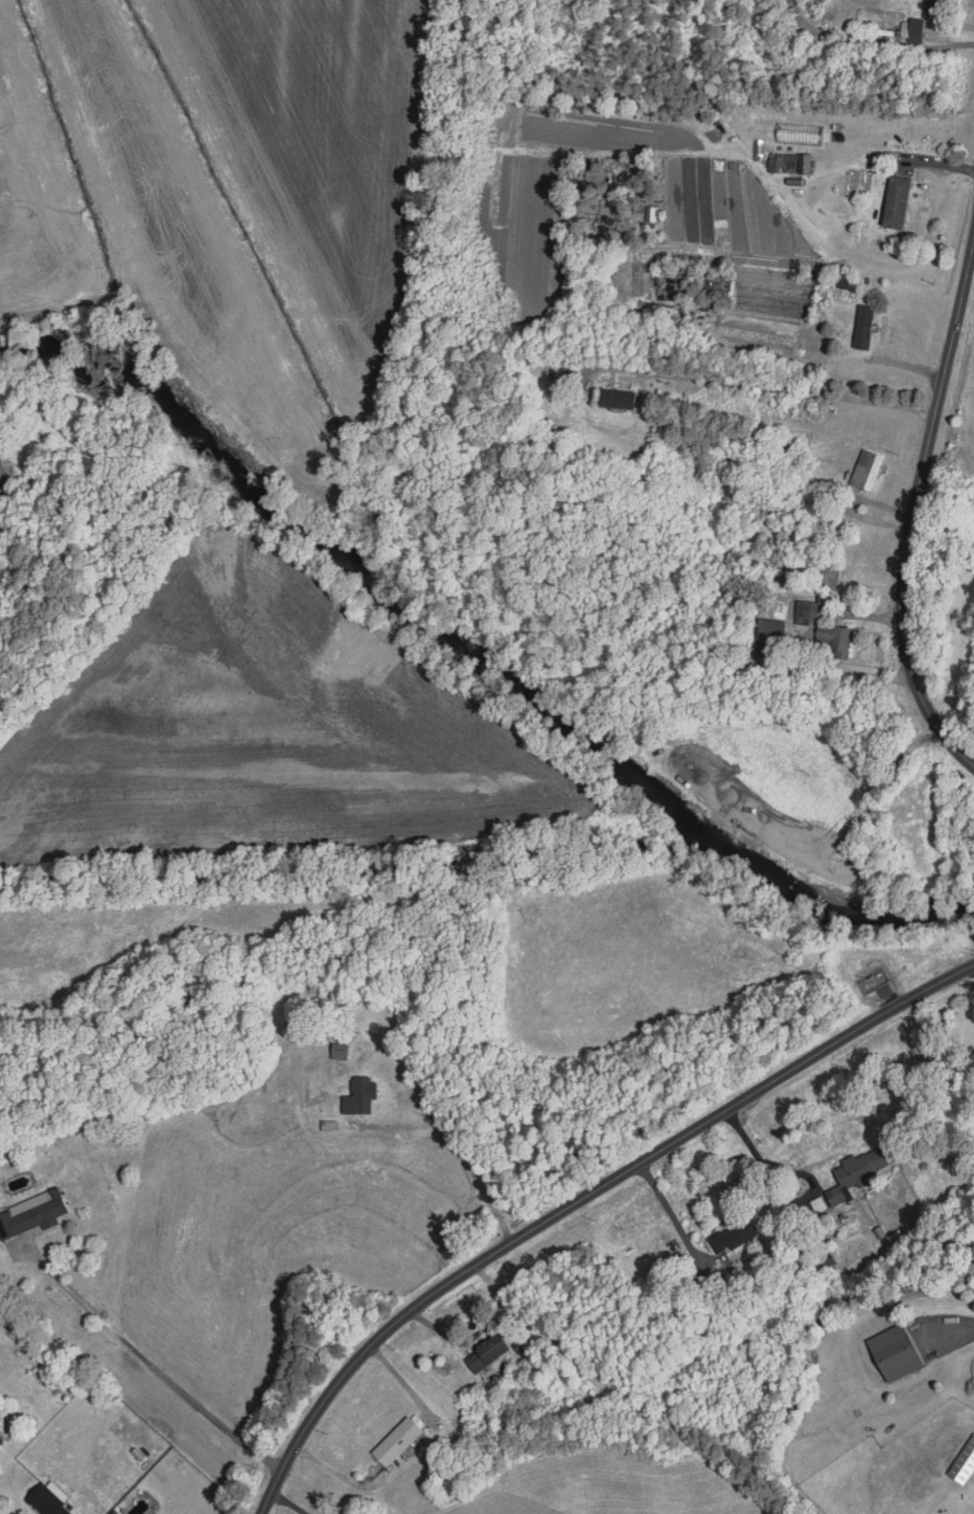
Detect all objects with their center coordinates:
building: (937, 4)
building: (911, 31)
road: (873, 43)
building: (781, 164)
building: (894, 203)
building: (862, 328)
road: (774, 387)
building: (615, 399)
building: (865, 471)
road: (914, 509)
building: (801, 615)
building: (765, 640)
building: (830, 642)
building: (411, 931)
building: (337, 1052)
building: (357, 1097)
building: (855, 1172)
road: (581, 1200)
building: (41, 1213)
building: (6, 1225)
building: (731, 1237)
building: (483, 1353)
building: (893, 1353)
road: (157, 1367)
building: (0, 1442)
building: (394, 1442)
building: (44, 1502)

